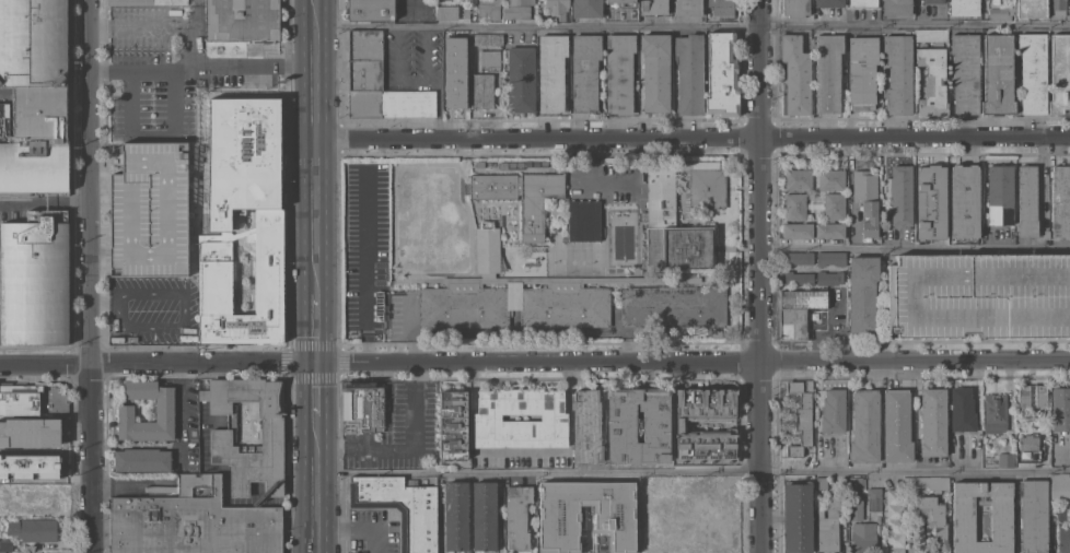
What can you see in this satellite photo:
building: (148, 1)
building: (620, 1)
building: (933, 1)
building: (521, 2)
building: (828, 2)
building: (863, 2)
building: (654, 7)
building: (1058, 7)
building: (558, 8)
building: (688, 8)
building: (795, 8)
building: (896, 8)
building: (963, 8)
building: (489, 9)
building: (586, 9)
building: (720, 9)
building: (1031, 9)
building: (371, 10)
road: (412, 12)
building: (446, 12)
building: (466, 12)
building: (516, 12)
building: (1000, 13)
building: (242, 20)
road: (693, 25)
building: (930, 35)
building: (485, 38)
building: (33, 44)
building: (490, 58)
road: (201, 68)
building: (551, 71)
building: (655, 71)
building: (584, 72)
building: (619, 72)
building: (689, 72)
building: (828, 72)
building: (862, 72)
building: (965, 72)
building: (1033, 72)
building: (455, 73)
building: (898, 73)
building: (1060, 73)
building: (722, 74)
building: (998, 74)
building: (795, 77)
road: (410, 80)
building: (521, 80)
building: (932, 81)
building: (379, 83)
building: (482, 91)
road: (498, 106)
road: (472, 110)
building: (39, 115)
building: (7, 122)
road: (151, 133)
road: (693, 136)
building: (242, 154)
building: (527, 163)
building: (536, 163)
building: (544, 163)
building: (479, 164)
building: (502, 165)
building: (512, 165)
building: (520, 165)
building: (34, 167)
road: (592, 179)
building: (798, 179)
building: (830, 180)
building: (707, 185)
building: (1000, 195)
building: (521, 196)
building: (900, 196)
building: (867, 200)
building: (1027, 200)
road: (44, 201)
building: (930, 201)
building: (964, 201)
building: (1060, 201)
building: (794, 207)
building: (834, 207)
building: (148, 210)
parking garage: (148, 210)
building: (46, 215)
building: (584, 220)
building: (672, 230)
building: (796, 231)
building: (829, 231)
building: (1046, 234)
road: (978, 246)
building: (487, 247)
building: (798, 258)
building: (830, 258)
road: (367, 267)
road: (90, 275)
road: (316, 276)
road: (763, 276)
building: (828, 276)
building: (798, 278)
building: (575, 279)
building: (243, 281)
building: (34, 282)
building: (862, 293)
building: (979, 295)
parking lot: (979, 295)
road: (104, 302)
building: (565, 306)
building: (673, 306)
building: (464, 307)
building: (806, 313)
road: (182, 314)
road: (411, 329)
building: (716, 333)
road: (534, 362)
traffic signals: (317, 363)
road: (181, 370)
building: (1023, 396)
building: (1040, 396)
building: (19, 400)
road: (179, 403)
building: (363, 404)
building: (1060, 408)
building: (833, 410)
building: (961, 410)
building: (995, 412)
building: (164, 413)
building: (801, 416)
building: (487, 417)
building: (932, 422)
building: (453, 424)
building: (681, 424)
building: (896, 425)
building: (586, 426)
building: (621, 426)
building: (864, 426)
building: (28, 432)
building: (248, 434)
road: (407, 444)
road: (142, 446)
building: (1028, 449)
building: (142, 459)
building: (1005, 459)
building: (28, 467)
road: (539, 470)
road: (917, 472)
building: (821, 482)
building: (926, 483)
road: (132, 485)
building: (1059, 487)
building: (720, 489)
building: (34, 495)
building: (856, 498)
building: (874, 498)
building: (263, 499)
building: (402, 507)
building: (0, 510)
building: (1034, 515)
building: (455, 516)
building: (485, 516)
building: (516, 516)
building: (798, 517)
building: (613, 518)
building: (1001, 519)
building: (894, 520)
building: (933, 520)
building: (191, 521)
building: (828, 526)
building: (652, 527)
building: (686, 527)
building: (720, 527)
building: (33, 529)
parking lot: (375, 530)
road: (357, 531)
building: (863, 538)
building: (1063, 539)
building: (5, 545)
building: (2, 552)

